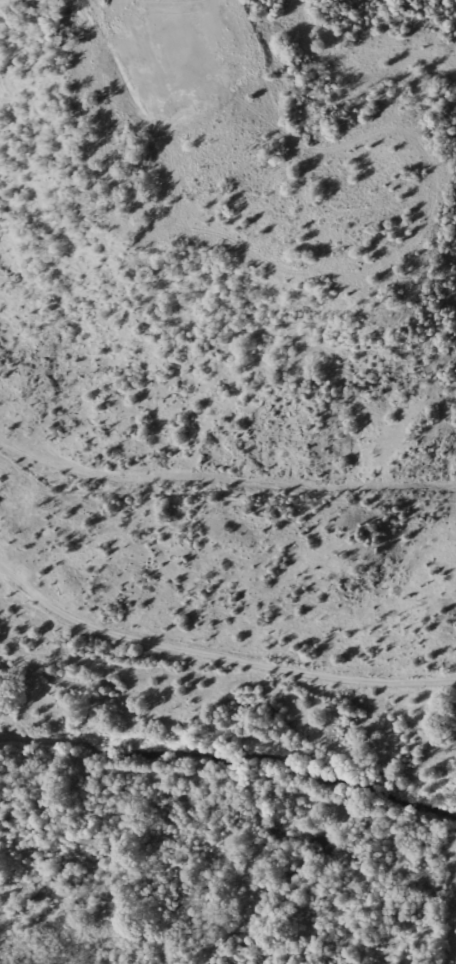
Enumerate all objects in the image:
road: (210, 821)

